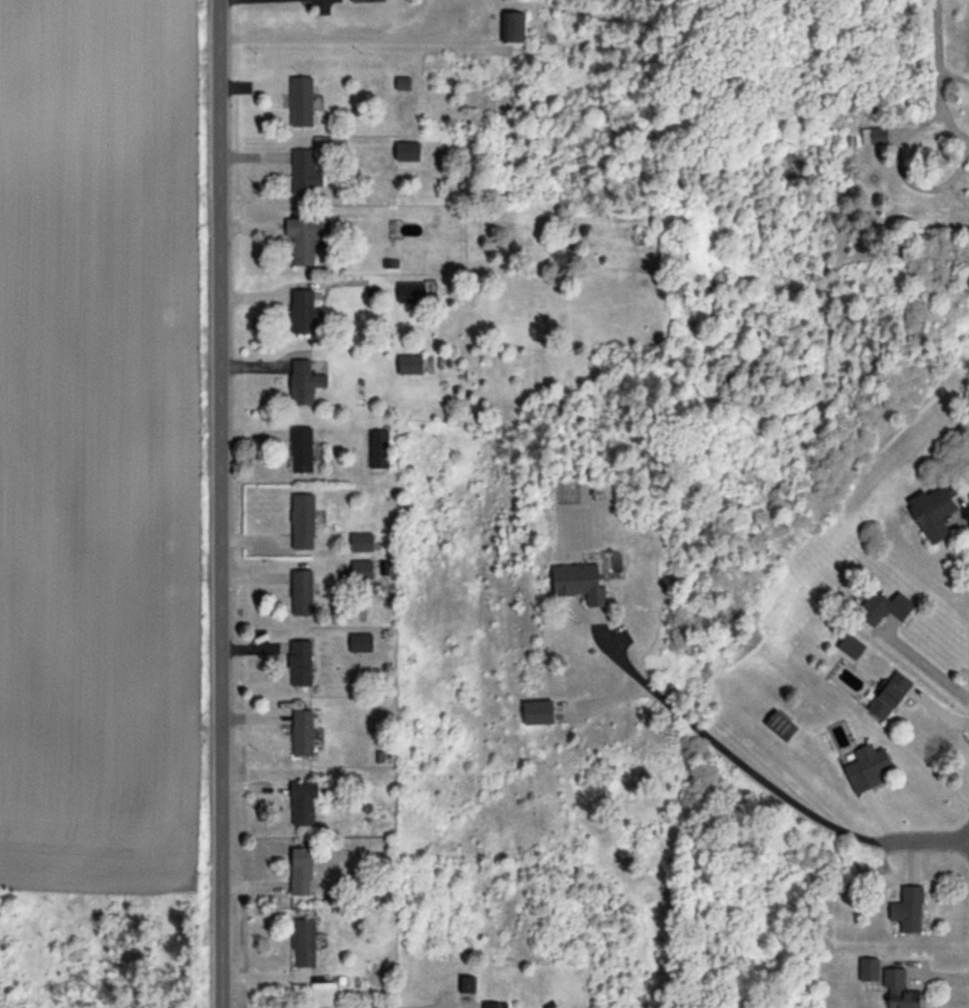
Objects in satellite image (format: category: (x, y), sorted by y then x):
building: (365, 0)
building: (511, 26)
road: (937, 62)
building: (301, 101)
building: (304, 171)
building: (304, 237)
building: (411, 292)
building: (303, 311)
building: (409, 363)
building: (304, 382)
building: (378, 448)
road: (221, 504)
building: (933, 511)
building: (302, 521)
building: (361, 568)
building: (578, 582)
building: (301, 591)
building: (883, 606)
building: (851, 646)
building: (300, 662)
building: (888, 695)
building: (302, 732)
road: (727, 755)
building: (866, 767)
building: (302, 802)
road: (924, 838)
building: (301, 871)
building: (909, 913)
building: (303, 943)
building: (868, 968)
building: (899, 989)
building: (491, 1004)

